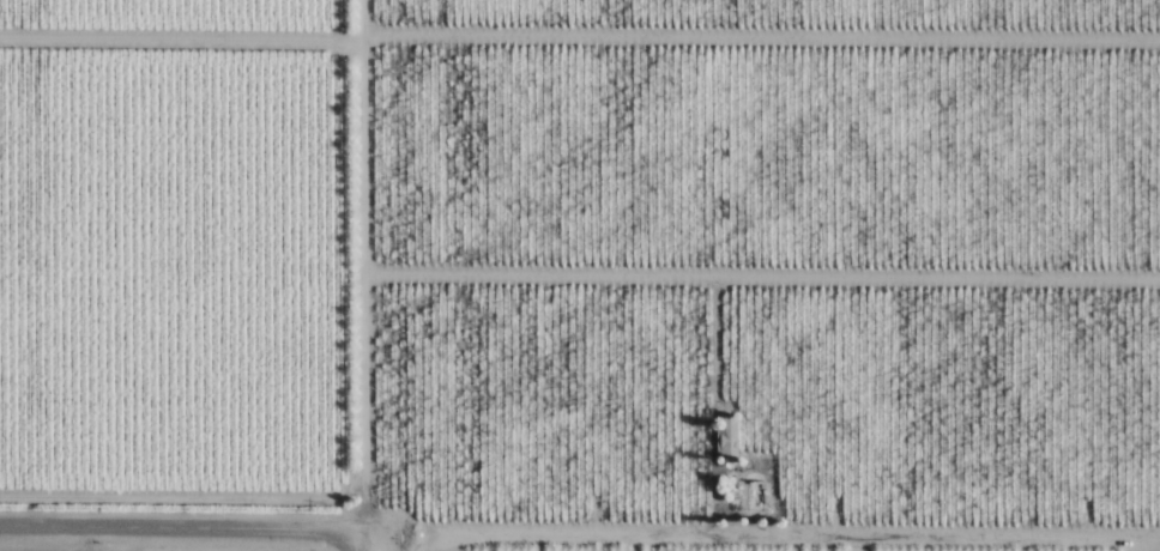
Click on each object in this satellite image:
road: (183, 527)
road: (753, 537)
road: (367, 540)
road: (1149, 540)
road: (852, 545)

